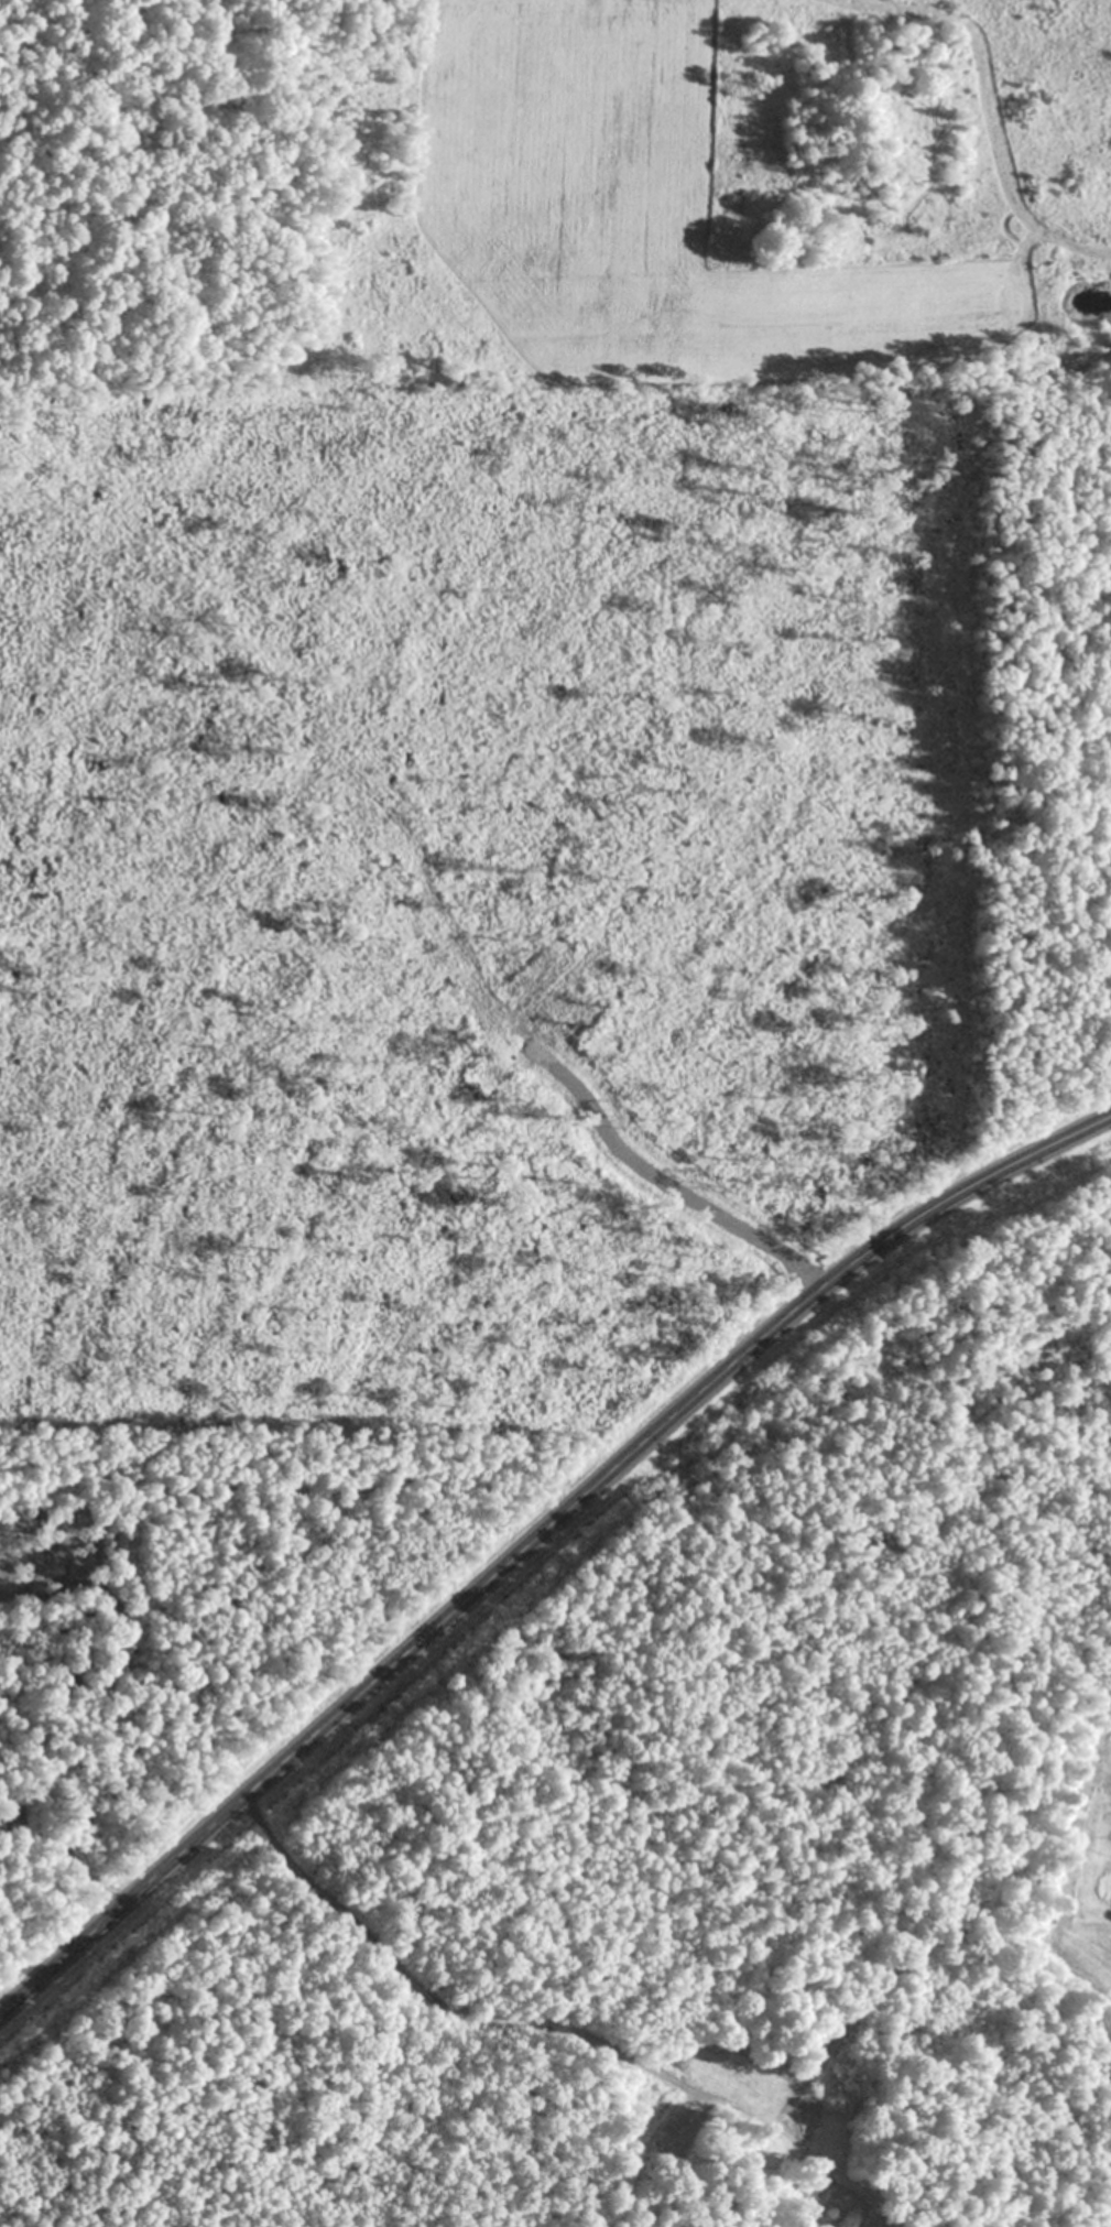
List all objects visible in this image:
road: (535, 1535)
building: (673, 2131)

